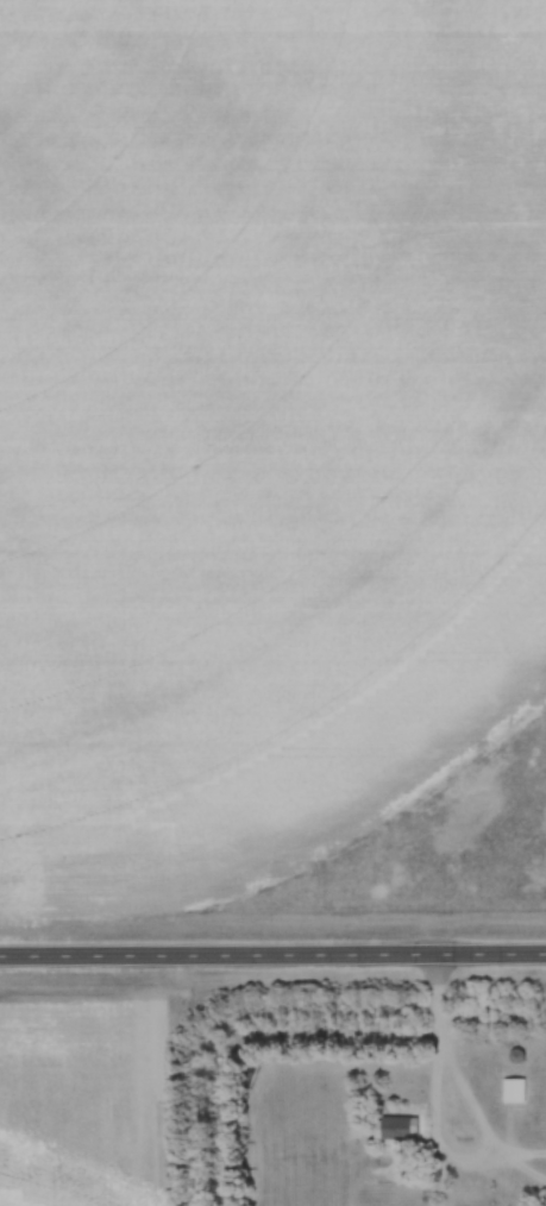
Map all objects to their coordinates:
road: (272, 957)
road: (435, 1044)
building: (515, 1094)
building: (400, 1129)

